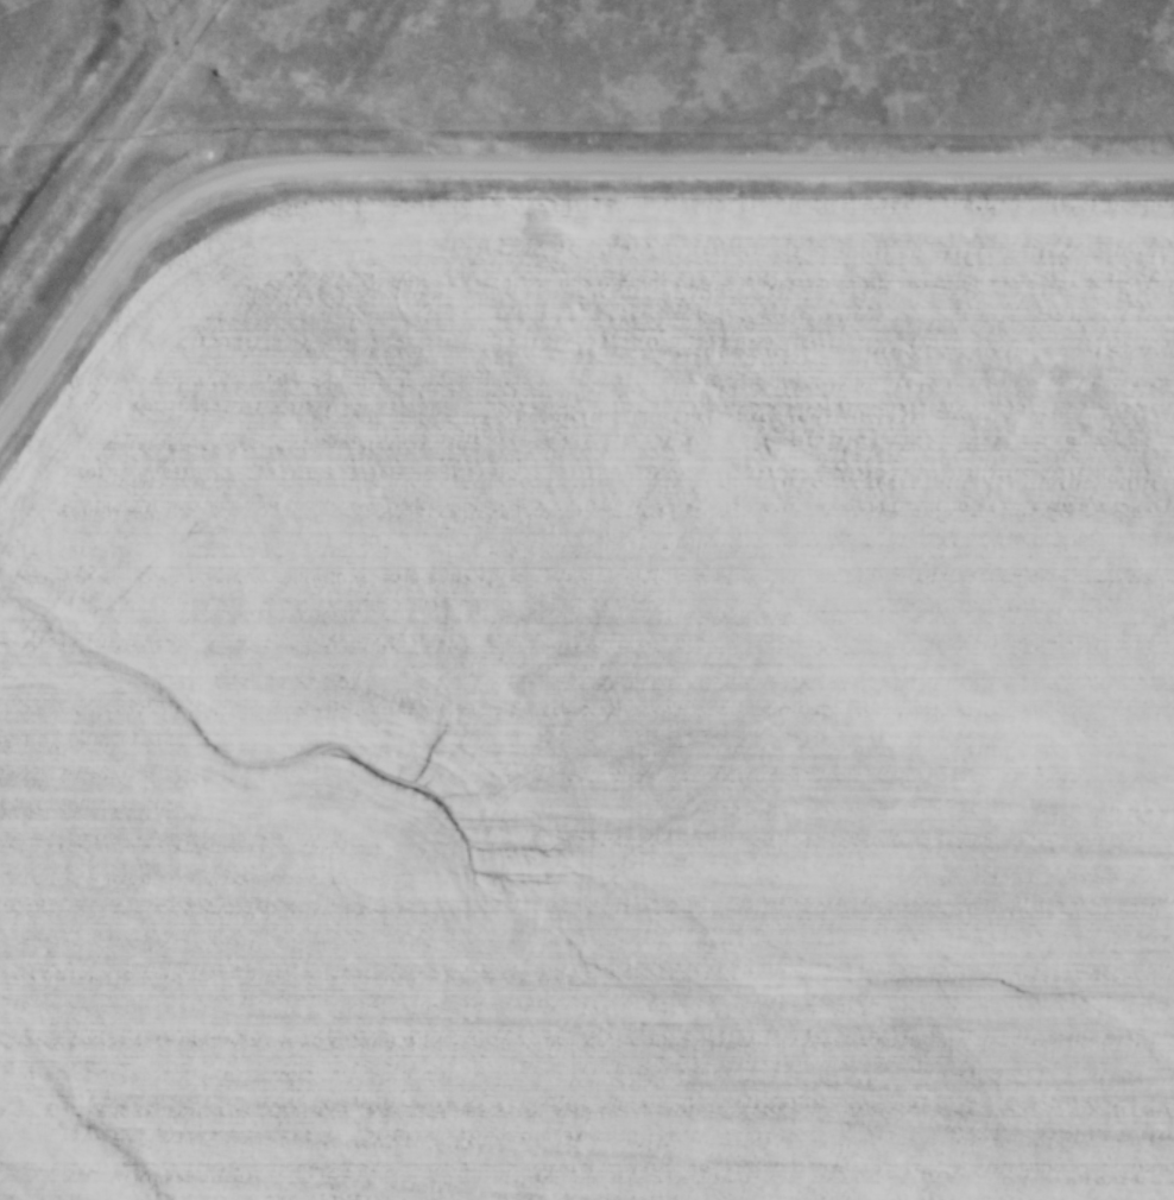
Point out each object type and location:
railway: (106, 153)
road: (529, 168)

